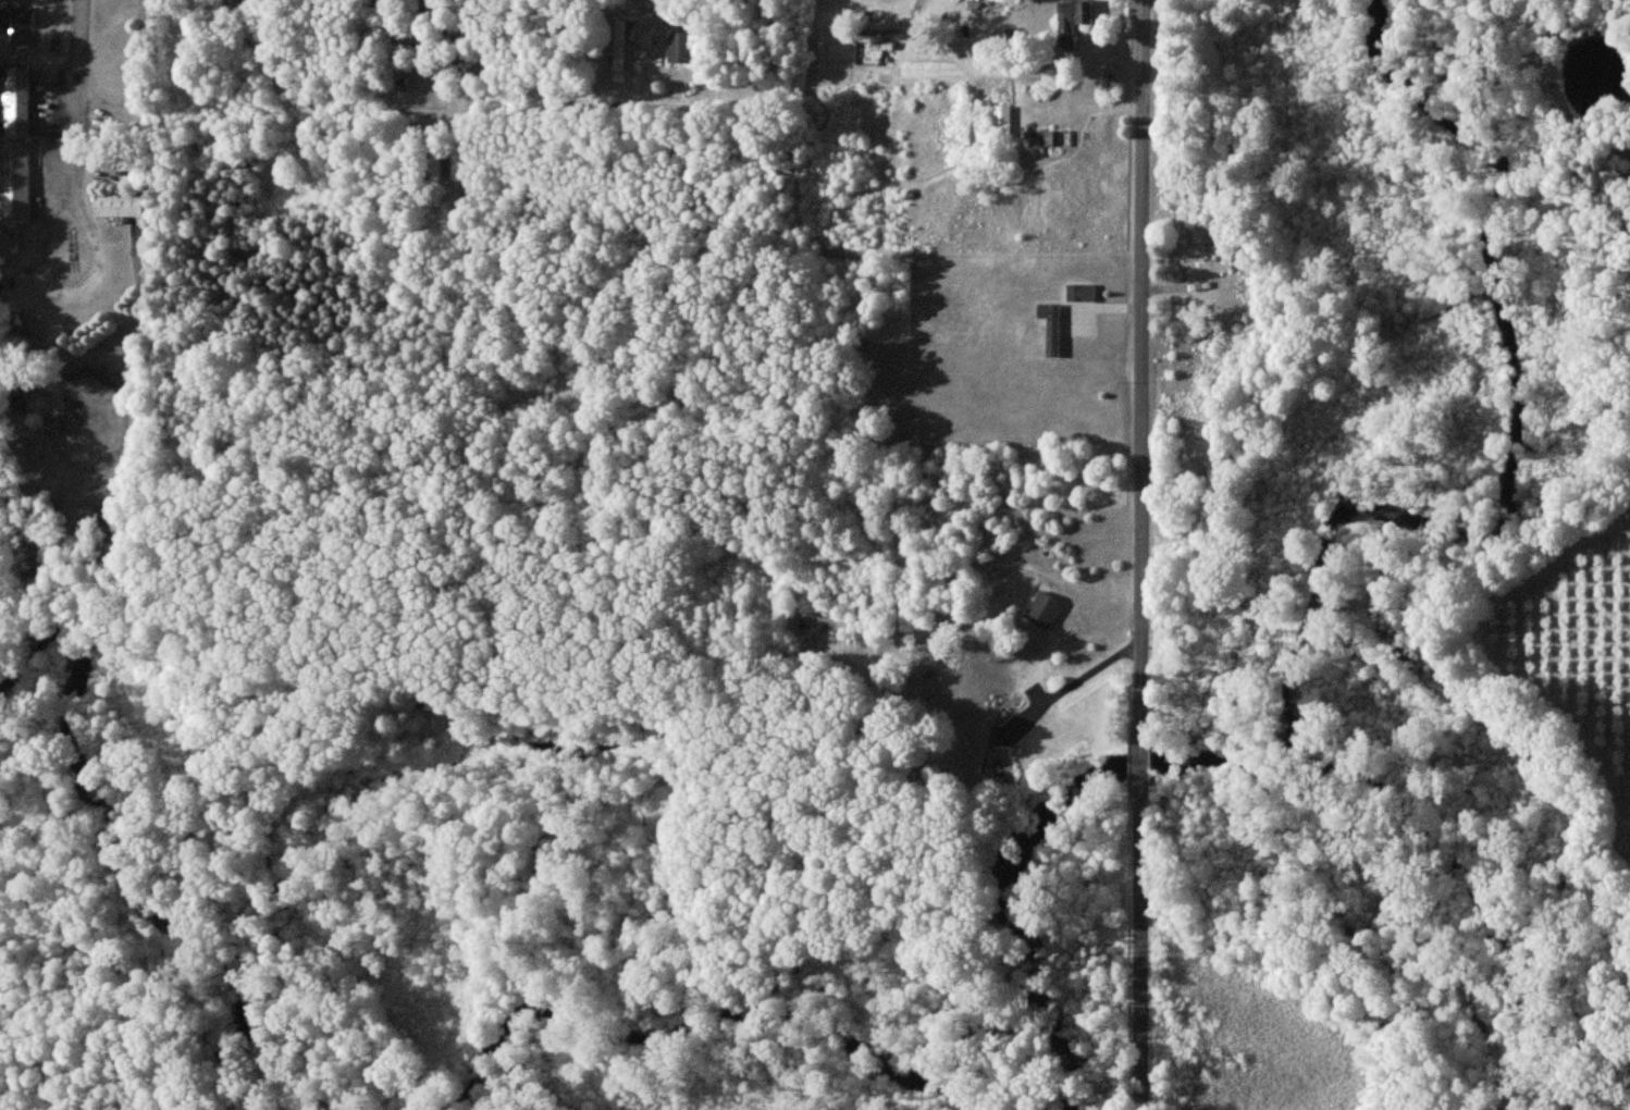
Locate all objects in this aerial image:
building: (232, 2)
building: (1074, 15)
building: (17, 17)
building: (875, 27)
building: (645, 39)
building: (619, 45)
building: (679, 47)
road: (78, 90)
building: (15, 101)
building: (1001, 121)
building: (14, 182)
building: (119, 206)
building: (1081, 292)
building: (1051, 326)
road: (1140, 554)
building: (1044, 609)
river: (608, 748)
river: (112, 826)

